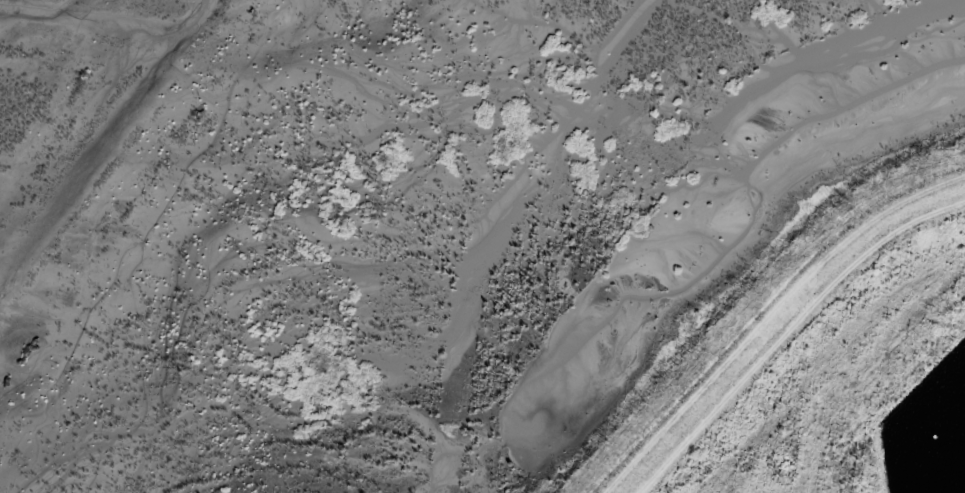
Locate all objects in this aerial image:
road: (810, 338)

